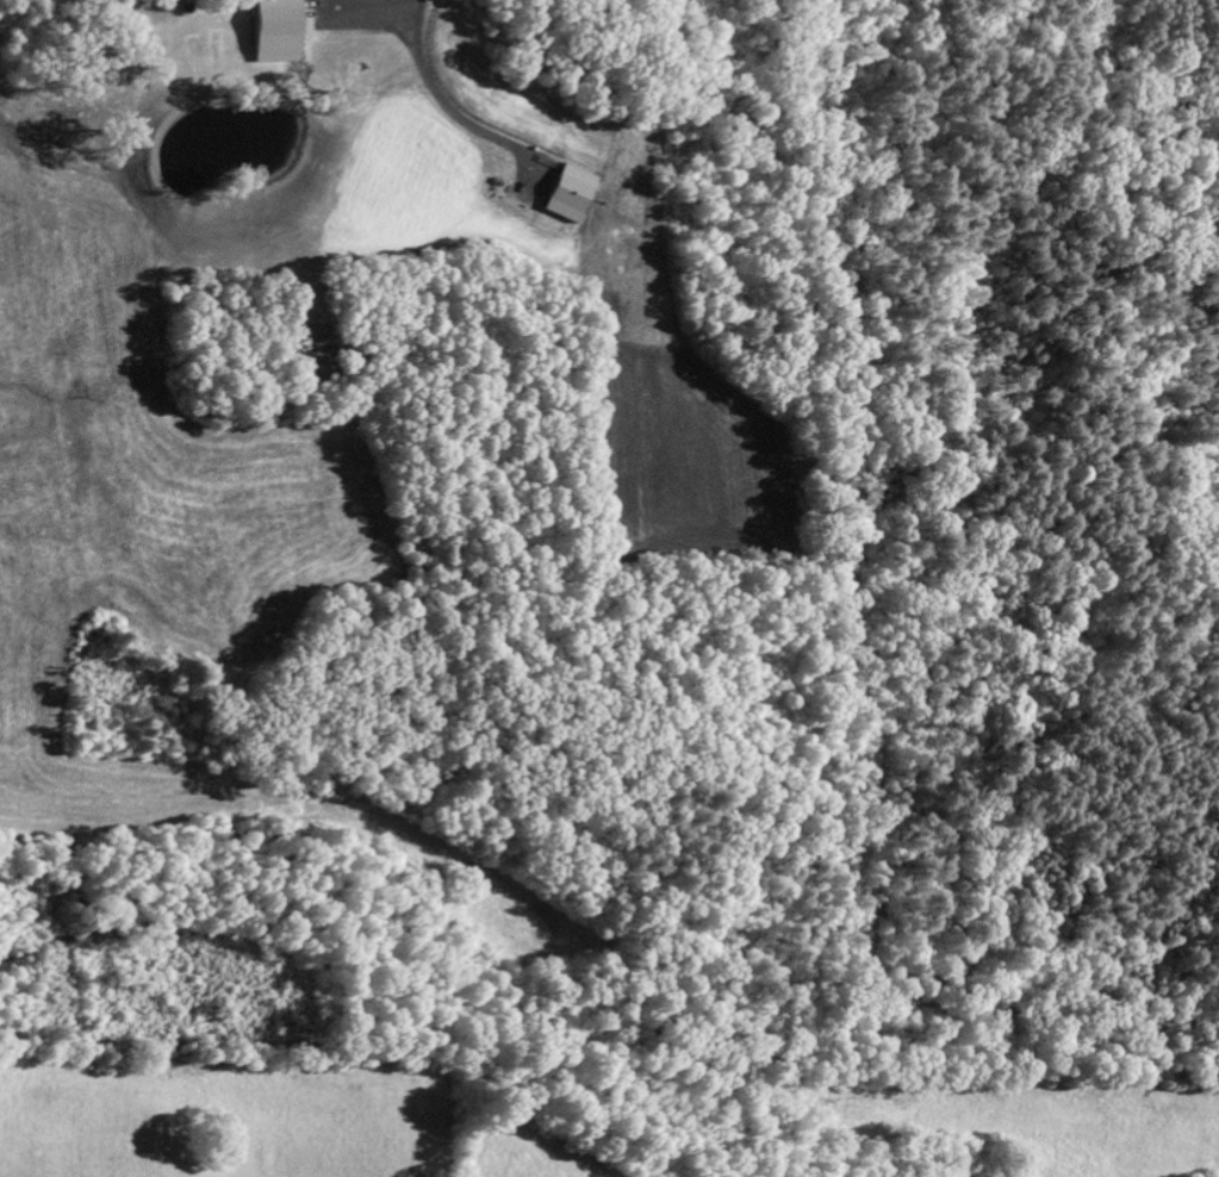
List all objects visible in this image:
building: (275, 30)
building: (567, 193)

